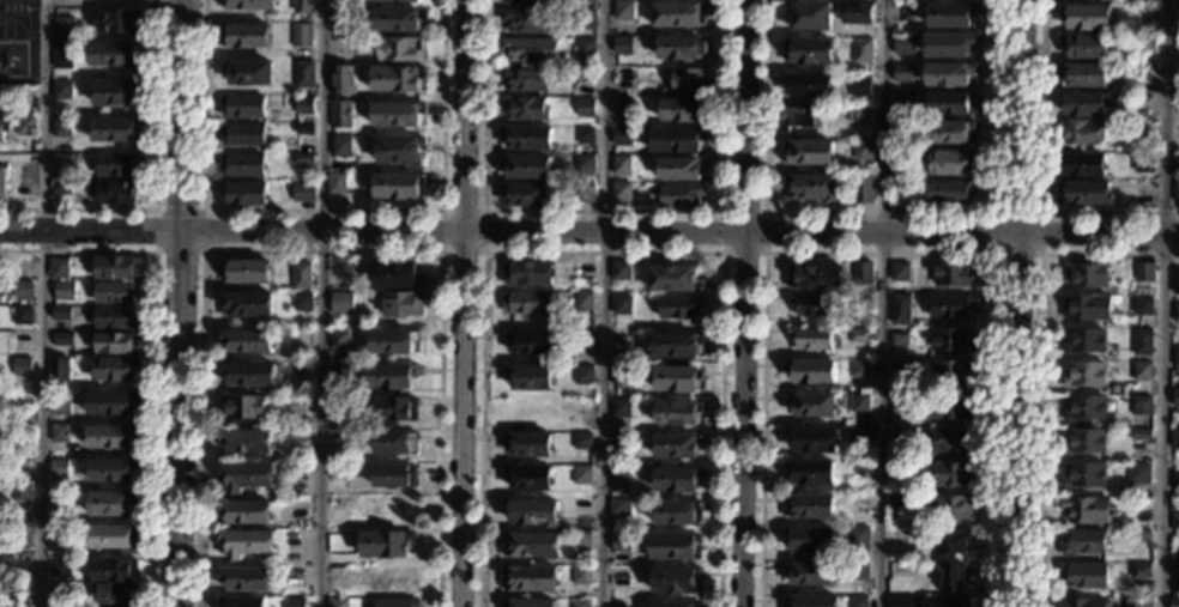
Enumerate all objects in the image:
road: (168, 0)
building: (398, 0)
building: (588, 0)
building: (528, 1)
building: (252, 5)
building: (302, 6)
building: (622, 11)
building: (902, 13)
building: (678, 14)
building: (857, 14)
building: (950, 14)
building: (1145, 16)
building: (1178, 16)
building: (340, 17)
building: (810, 17)
building: (1087, 17)
building: (116, 19)
building: (398, 19)
building: (585, 19)
building: (526, 20)
building: (64, 29)
building: (301, 35)
building: (246, 36)
building: (902, 43)
building: (622, 44)
building: (949, 44)
building: (1145, 44)
building: (1177, 44)
building: (1084, 45)
building: (339, 47)
building: (399, 48)
building: (585, 48)
building: (679, 48)
building: (530, 49)
building: (860, 50)
building: (808, 51)
building: (115, 54)
building: (62, 55)
building: (248, 72)
building: (901, 73)
building: (1177, 73)
building: (303, 74)
building: (585, 74)
building: (948, 74)
building: (1083, 74)
building: (1147, 74)
building: (398, 78)
building: (525, 79)
building: (341, 80)
building: (688, 80)
building: (809, 85)
building: (859, 87)
building: (62, 90)
building: (116, 93)
building: (23, 95)
building: (905, 102)
building: (950, 103)
building: (1086, 103)
building: (303, 105)
building: (242, 107)
building: (524, 108)
building: (584, 108)
building: (622, 108)
building: (1177, 108)
building: (682, 109)
building: (340, 114)
building: (397, 115)
building: (850, 117)
building: (861, 117)
building: (794, 119)
building: (25, 126)
building: (2, 128)
building: (62, 128)
building: (302, 128)
building: (117, 130)
building: (900, 130)
building: (950, 132)
building: (1081, 133)
building: (1144, 133)
building: (1177, 133)
building: (242, 135)
building: (584, 136)
building: (621, 136)
building: (527, 138)
building: (675, 139)
building: (30, 146)
building: (340, 146)
building: (399, 151)
building: (861, 151)
building: (808, 153)
building: (303, 159)
building: (62, 160)
building: (900, 160)
building: (951, 162)
building: (1177, 162)
building: (1143, 163)
building: (584, 164)
building: (116, 165)
building: (242, 165)
building: (619, 165)
building: (1081, 165)
building: (524, 166)
building: (679, 168)
road: (1036, 177)
road: (152, 180)
building: (2, 182)
building: (335, 183)
building: (395, 187)
building: (811, 187)
building: (61, 188)
building: (861, 189)
building: (113, 192)
building: (619, 192)
building: (949, 192)
building: (1175, 192)
building: (303, 193)
building: (584, 193)
building: (1083, 193)
building: (246, 194)
building: (524, 194)
building: (681, 196)
road: (176, 210)
road: (321, 210)
road: (601, 211)
road: (878, 212)
road: (510, 231)
road: (1100, 232)
road: (761, 251)
road: (177, 253)
road: (320, 253)
road: (479, 253)
road: (599, 253)
road: (877, 253)
road: (996, 254)
building: (116, 268)
building: (58, 269)
building: (619, 271)
building: (0, 272)
building: (244, 272)
building: (582, 272)
building: (897, 272)
building: (526, 273)
building: (860, 273)
building: (954, 273)
building: (1144, 273)
building: (392, 274)
building: (1084, 274)
building: (300, 277)
building: (814, 278)
building: (672, 279)
building: (339, 283)
building: (1174, 283)
building: (23, 287)
building: (64, 291)
building: (115, 292)
building: (302, 302)
building: (582, 302)
road: (38, 303)
road: (176, 303)
road: (318, 303)
building: (340, 303)
road: (459, 303)
building: (526, 303)
road: (599, 303)
road: (743, 303)
road: (881, 303)
road: (1021, 303)
road: (1160, 303)
building: (246, 304)
building: (858, 304)
building: (403, 305)
building: (619, 305)
building: (810, 305)
building: (949, 305)
building: (678, 306)
building: (1142, 306)
building: (1086, 308)
building: (899, 309)
building: (61, 314)
building: (1175, 315)
building: (22, 316)
building: (116, 318)
building: (857, 335)
building: (810, 338)
building: (62, 339)
building: (339, 339)
building: (582, 340)
building: (897, 340)
building: (950, 340)
building: (22, 341)
building: (248, 341)
building: (298, 341)
building: (619, 341)
building: (1083, 341)
building: (391, 342)
building: (1142, 342)
building: (116, 344)
building: (530, 344)
building: (673, 344)
road: (153, 352)
building: (1175, 357)
road: (1036, 359)
building: (22, 366)
building: (114, 369)
building: (59, 370)
building: (857, 370)
building: (899, 371)
building: (1141, 371)
building: (339, 372)
building: (812, 372)
building: (950, 374)
building: (248, 375)
building: (582, 375)
building: (1083, 375)
building: (389, 376)
building: (621, 376)
building: (528, 377)
building: (677, 377)
building: (1175, 399)
building: (110, 403)
building: (857, 403)
building: (899, 403)
building: (60, 406)
building: (297, 406)
building: (338, 406)
building: (812, 406)
building: (1141, 406)
building: (947, 407)
building: (243, 408)
building: (394, 408)
building: (618, 408)
building: (1083, 408)
building: (531, 412)
building: (676, 412)
building: (59, 433)
building: (901, 433)
building: (1139, 435)
building: (111, 437)
building: (857, 437)
building: (1174, 438)
building: (338, 439)
building: (812, 439)
building: (581, 441)
building: (247, 442)
building: (394, 442)
building: (951, 442)
building: (1083, 442)
building: (530, 444)
building: (676, 445)
building: (22, 466)
building: (897, 467)
building: (59, 469)
building: (113, 471)
building: (1139, 471)
building: (810, 472)
building: (948, 474)
building: (247, 475)
building: (582, 475)
building: (1083, 475)
building: (394, 477)
building: (528, 478)
building: (618, 479)
building: (676, 479)
building: (1174, 482)
building: (20, 492)
building: (896, 499)
building: (58, 502)
building: (858, 503)
building: (111, 504)
building: (338, 506)
building: (809, 506)
building: (947, 508)
building: (393, 509)
building: (581, 509)
building: (618, 509)
building: (1087, 510)
building: (1141, 510)
building: (247, 511)
building: (297, 511)
building: (531, 512)
building: (677, 512)
building: (20, 516)
building: (1175, 523)
building: (58, 534)
building: (114, 536)
building: (1137, 536)
building: (896, 538)
building: (810, 540)
building: (858, 540)
building: (949, 540)
building: (20, 541)
building: (581, 541)
building: (294, 542)
building: (621, 542)
building: (1082, 542)
building: (248, 544)
building: (386, 544)
building: (531, 545)
building: (676, 547)
building: (19, 565)
building: (1174, 565)
building: (60, 567)
building: (897, 569)
building: (111, 570)
building: (858, 570)
building: (1125, 571)
building: (1139, 571)
building: (809, 573)
building: (581, 576)
building: (1084, 576)
building: (296, 577)
building: (247, 578)
building: (530, 578)
building: (673, 578)
building: (950, 578)
building: (60, 590)
building: (113, 594)
building: (20, 601)
building: (811, 601)
building: (857, 601)
building: (900, 601)
building: (944, 601)
building: (243, 602)
building: (527, 602)
building: (1082, 602)
building: (1174, 602)
building: (296, 603)
building: (338, 603)
building: (397, 603)
building: (580, 603)
building: (676, 603)

